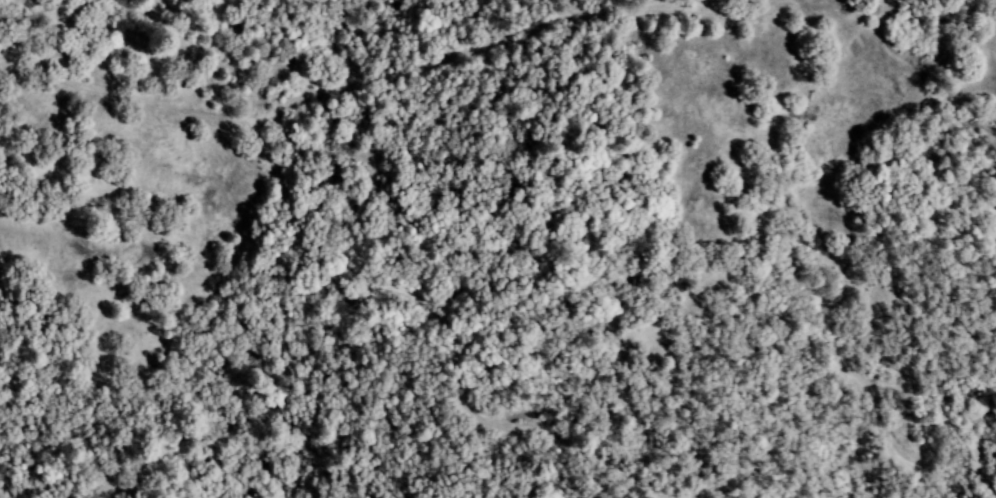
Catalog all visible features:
road: (444, 336)
park: (614, 381)
road: (795, 450)
road: (925, 477)

